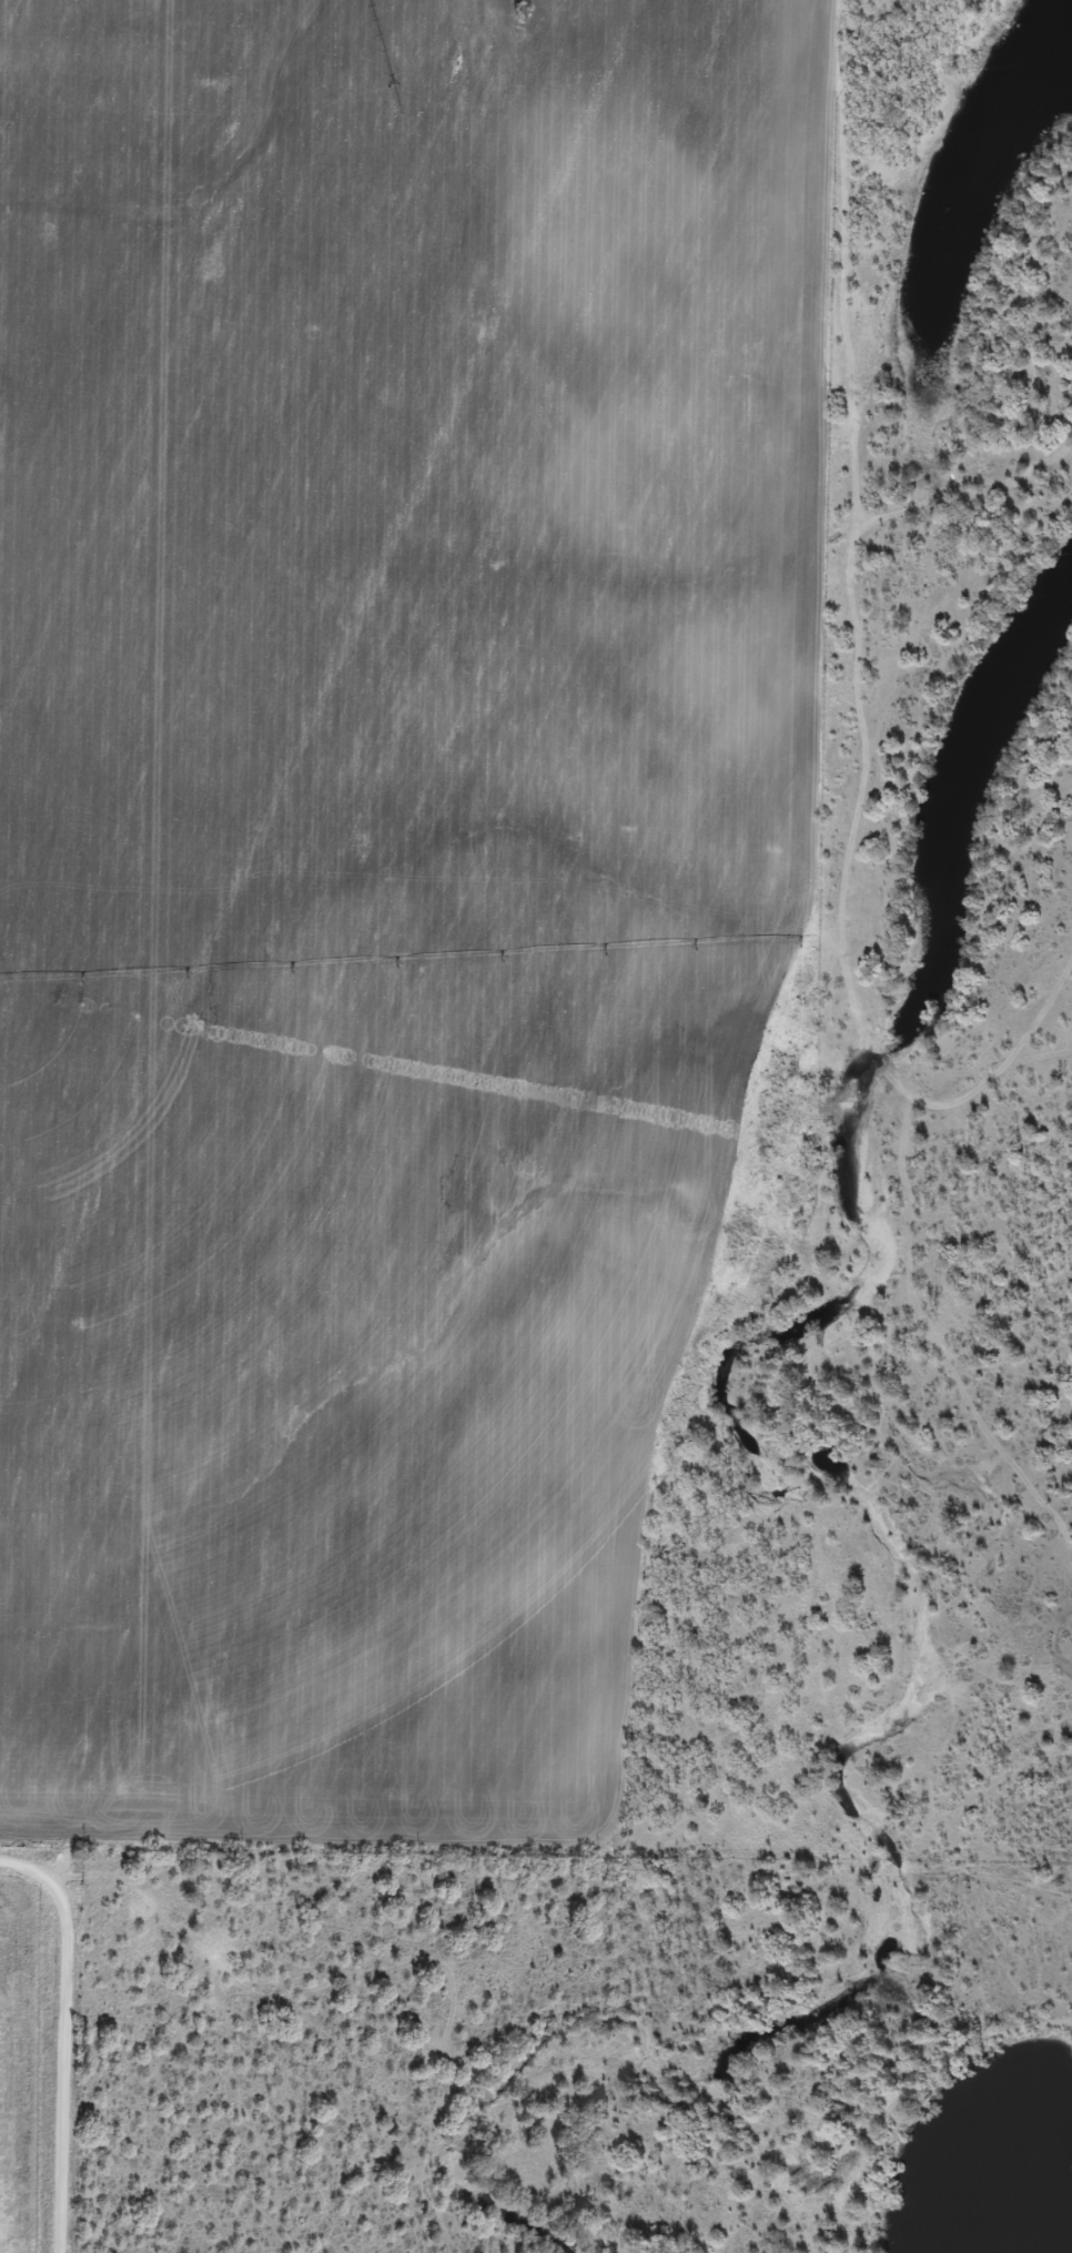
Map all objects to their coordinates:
road: (71, 2051)

